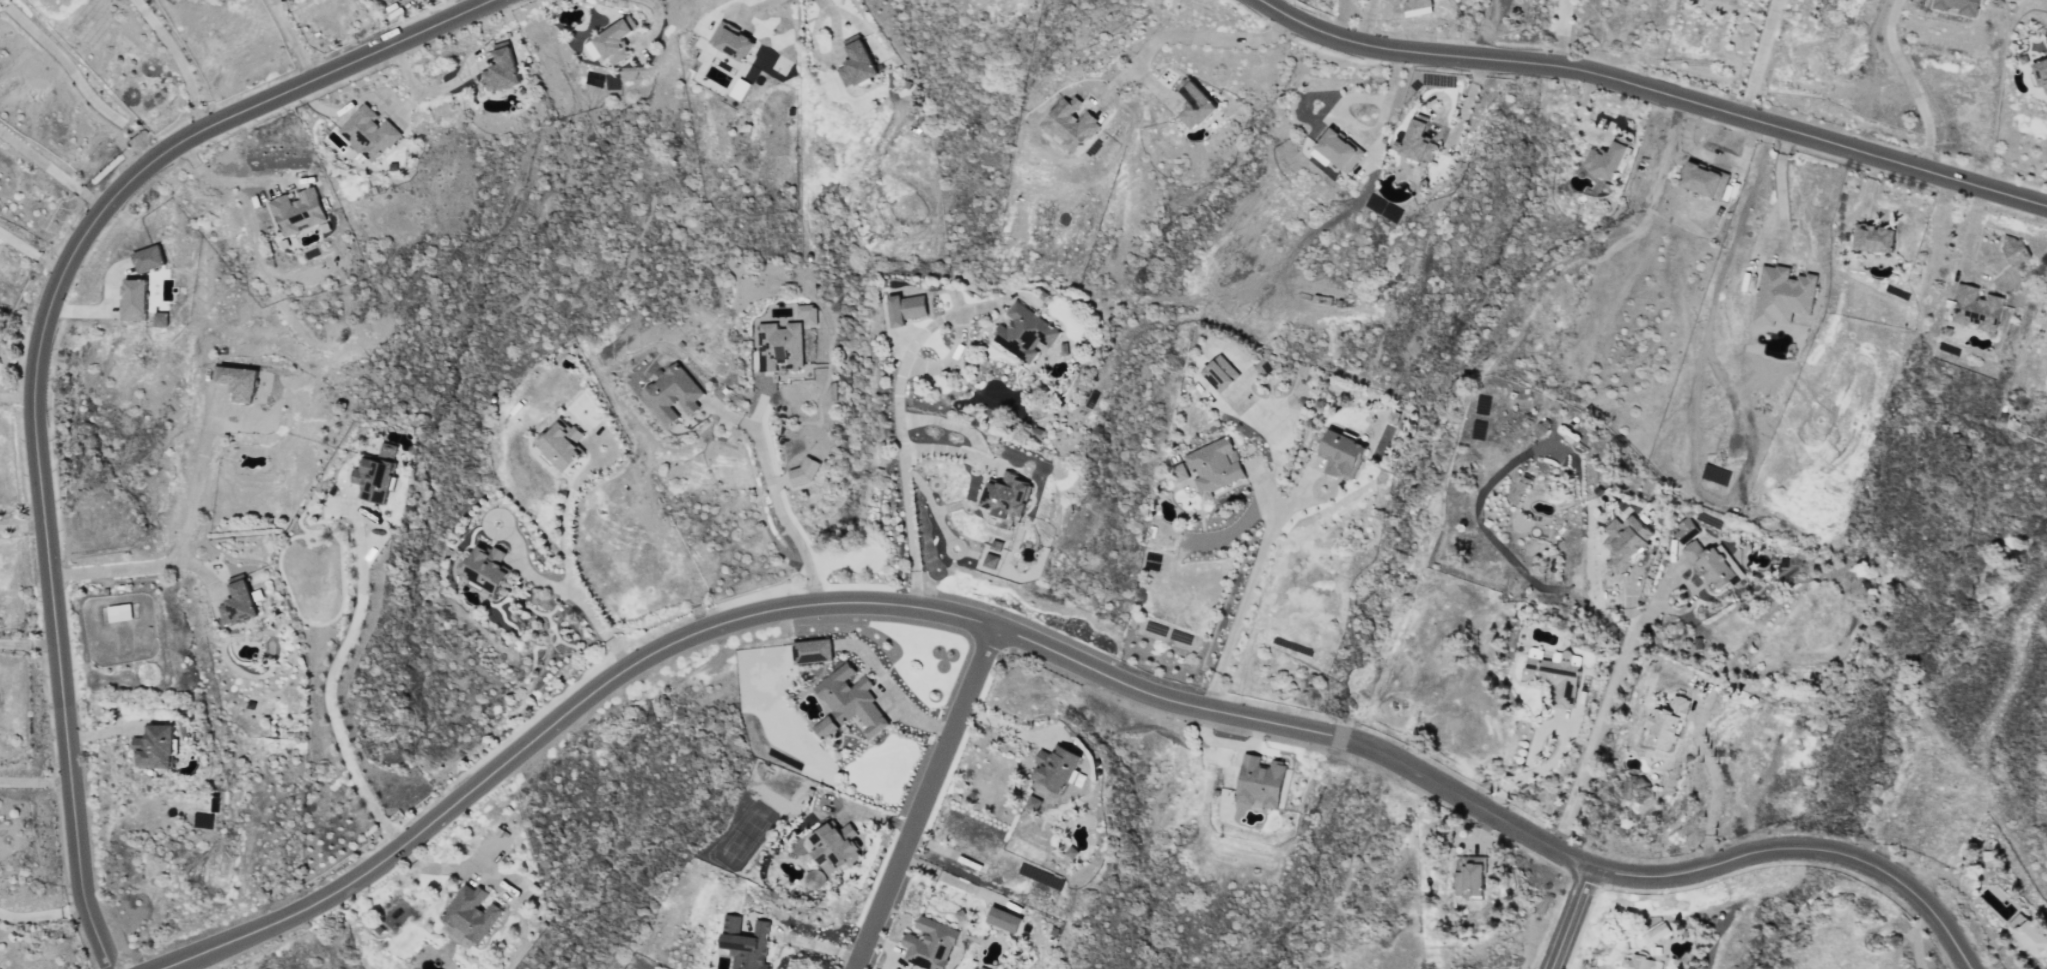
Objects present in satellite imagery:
road: (477, 2)
building: (1419, 4)
building: (1963, 6)
road: (753, 7)
road: (638, 20)
road: (1362, 20)
road: (836, 24)
road: (1485, 27)
road: (1561, 32)
road: (1183, 34)
road: (293, 40)
building: (735, 41)
building: (614, 42)
road: (1744, 55)
road: (179, 60)
building: (860, 65)
building: (504, 69)
building: (2043, 73)
road: (79, 81)
road: (1910, 83)
road: (1661, 91)
road: (416, 93)
building: (1198, 103)
road: (405, 106)
building: (1070, 127)
building: (370, 133)
road: (1366, 133)
building: (1421, 140)
building: (1343, 149)
building: (1611, 159)
road: (50, 168)
building: (1707, 179)
road: (223, 182)
road: (1780, 189)
building: (300, 211)
road: (1969, 235)
building: (1877, 238)
road: (32, 250)
building: (150, 259)
building: (1786, 295)
building: (137, 300)
building: (909, 309)
building: (1980, 309)
building: (809, 314)
building: (163, 319)
building: (1028, 333)
road: (37, 363)
building: (1222, 374)
building: (246, 383)
road: (16, 394)
building: (676, 394)
road: (731, 416)
road: (1282, 432)
road: (899, 435)
building: (565, 445)
road: (944, 448)
building: (1345, 455)
building: (1217, 467)
building: (1181, 472)
building: (806, 473)
building: (378, 474)
road: (988, 476)
road: (1264, 486)
building: (1522, 489)
building: (1012, 495)
road: (774, 498)
road: (21, 526)
building: (1632, 546)
road: (1507, 551)
road: (173, 553)
building: (1710, 558)
road: (567, 560)
building: (490, 567)
road: (523, 569)
road: (1244, 592)
building: (242, 603)
building: (121, 613)
road: (714, 627)
road: (27, 642)
building: (815, 651)
building: (1556, 675)
road: (331, 689)
building: (855, 699)
road: (890, 704)
road: (1613, 706)
building: (1670, 724)
building: (828, 727)
building: (158, 747)
building: (1054, 777)
road: (33, 778)
building: (1264, 782)
road: (922, 799)
road: (1713, 802)
road: (878, 817)
building: (838, 847)
building: (1074, 853)
road: (461, 866)
road: (1662, 878)
building: (816, 879)
building: (1474, 881)
road: (42, 913)
building: (471, 915)
road: (1575, 919)
building: (1008, 920)
building: (1660, 932)
road: (1915, 938)
building: (2033, 941)
road: (812, 943)
building: (749, 944)
building: (933, 945)
road: (208, 962)
building: (1640, 963)
building: (984, 968)

